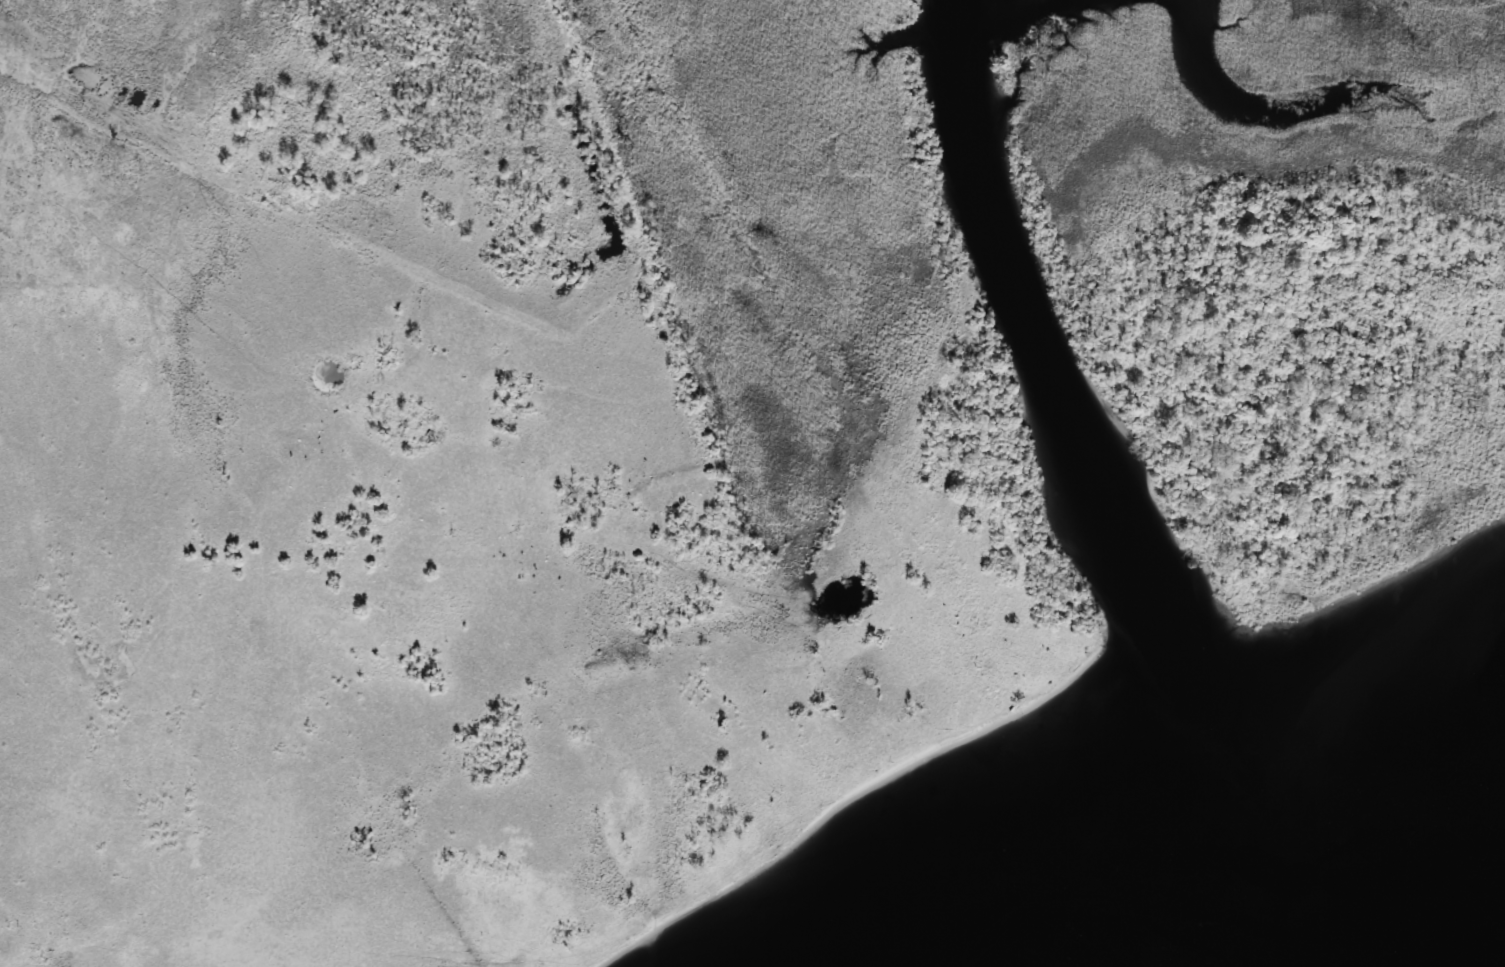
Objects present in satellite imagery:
river: (1443, 935)

